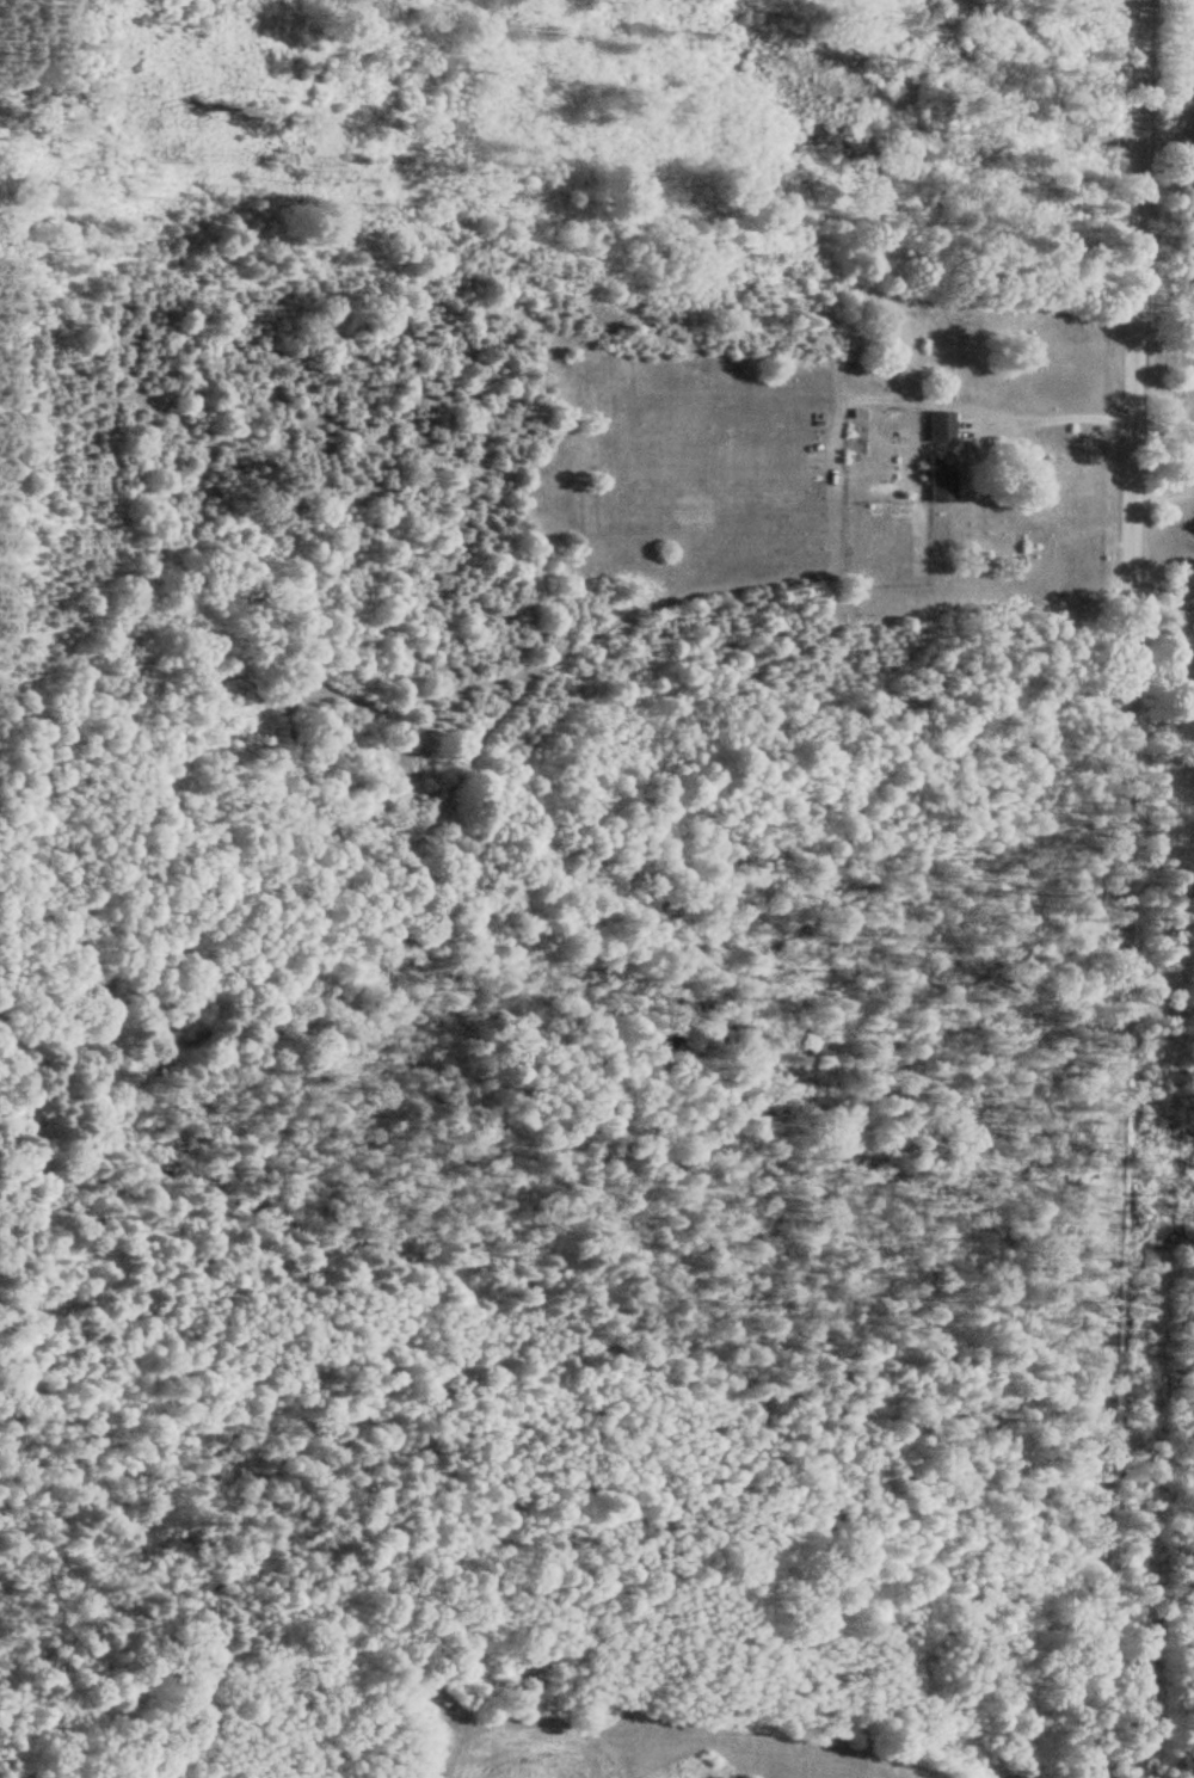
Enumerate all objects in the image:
building: (938, 426)
building: (938, 481)
road: (1112, 888)

